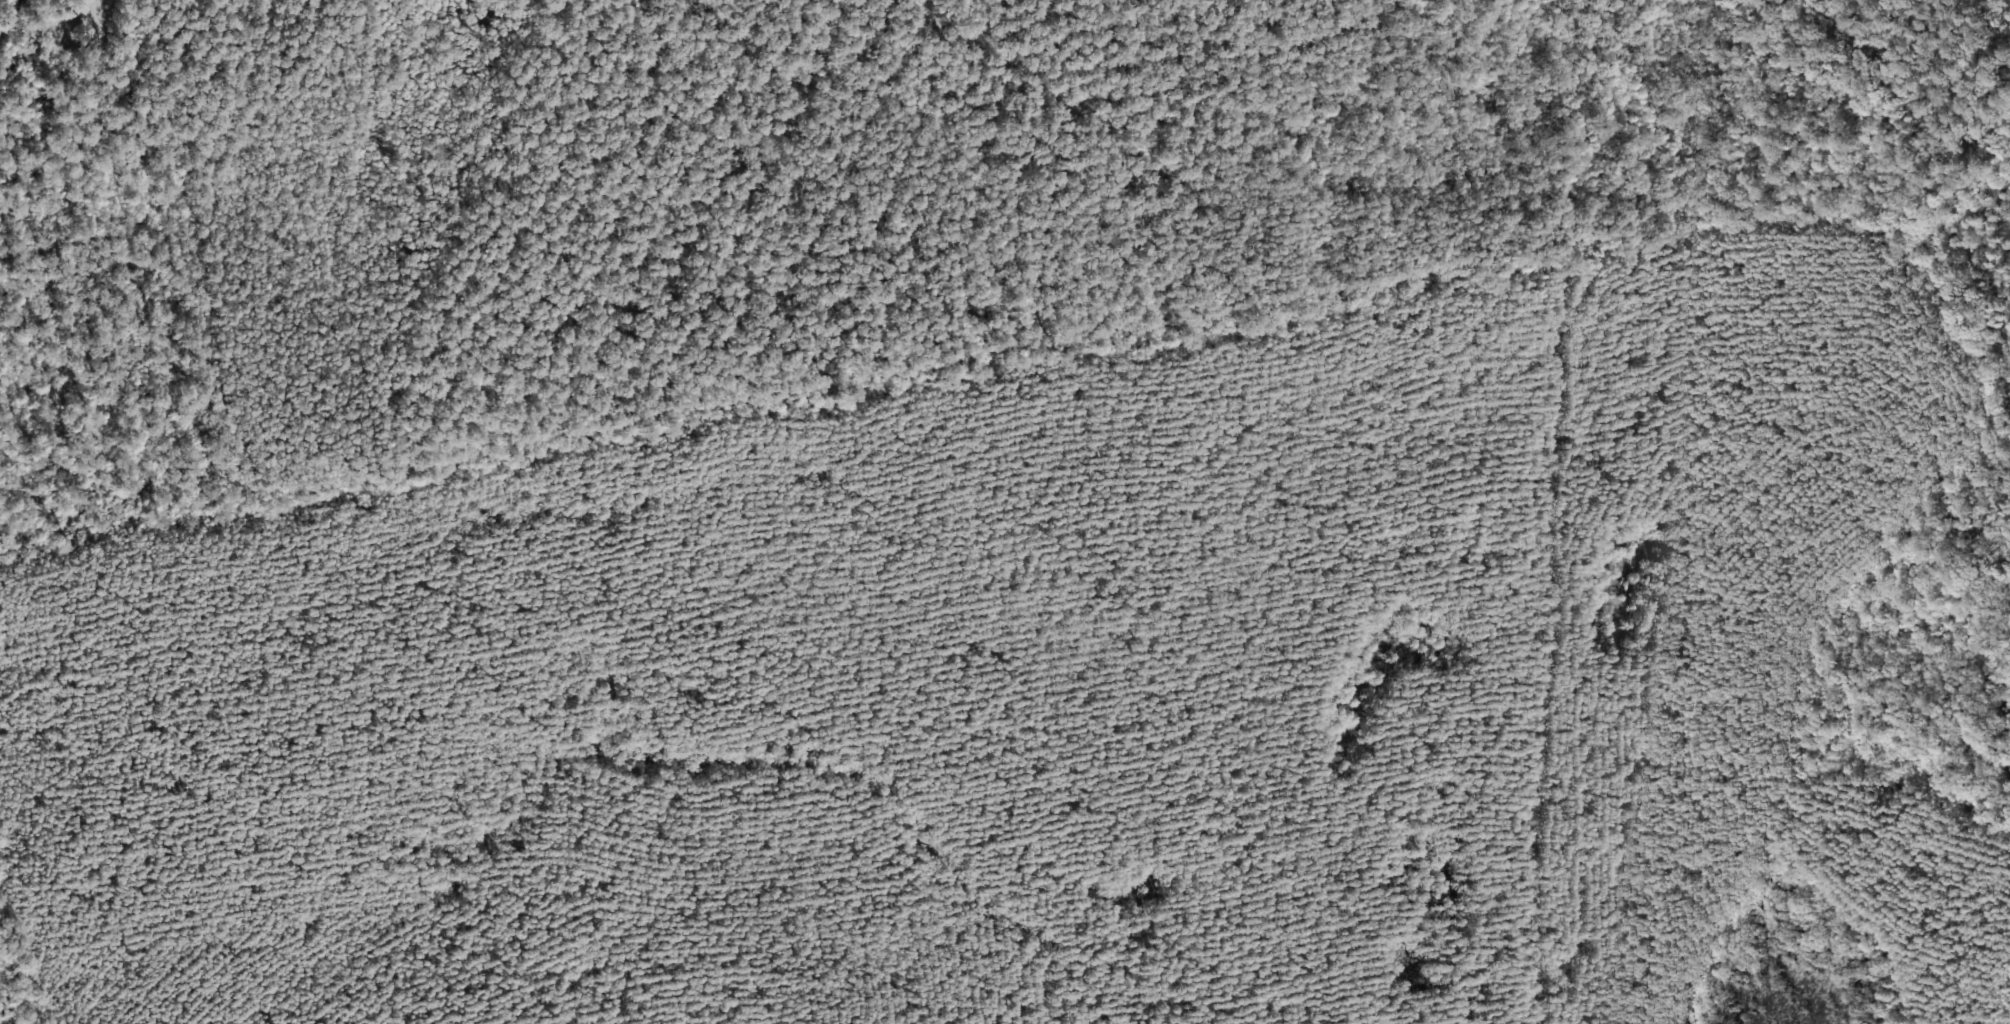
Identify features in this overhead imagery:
road: (13, 19)
park: (97, 25)

